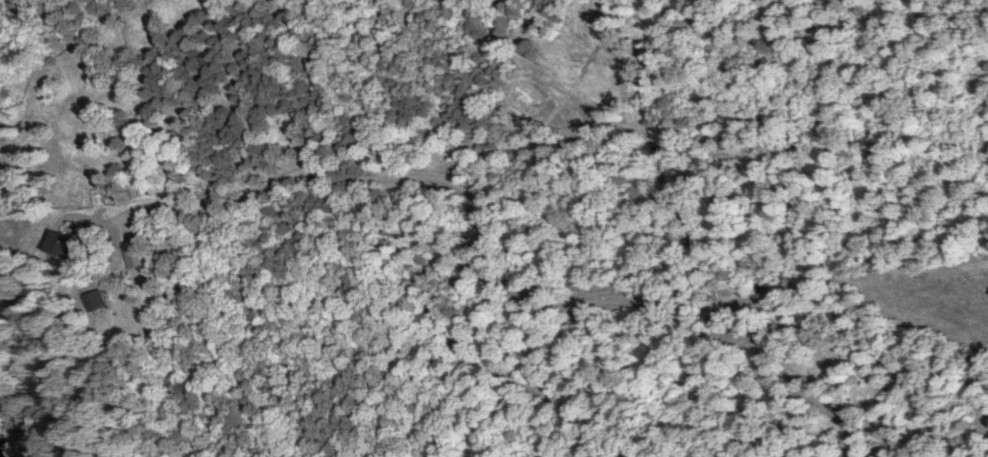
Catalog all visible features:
road: (112, 226)

